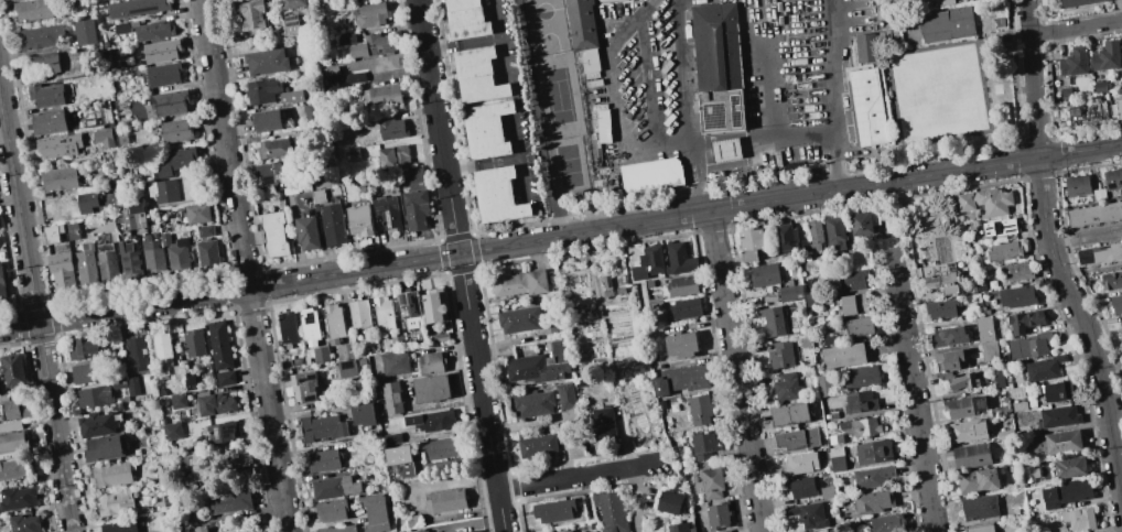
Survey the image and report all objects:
building: (347, 0)
building: (942, 1)
building: (1076, 2)
building: (290, 3)
building: (133, 8)
building: (32, 9)
rooftop solar panel: (148, 9)
building: (369, 14)
building: (250, 17)
building: (465, 19)
rooftop solar panel: (292, 20)
building: (291, 24)
rooftop solar panel: (293, 24)
building: (947, 24)
park: (548, 25)
road: (1076, 28)
building: (145, 30)
building: (84, 32)
building: (582, 32)
road: (1003, 34)
building: (39, 36)
building: (345, 39)
road: (501, 39)
road: (977, 40)
road: (463, 43)
building: (373, 45)
building: (865, 47)
building: (161, 51)
building: (1105, 56)
building: (1072, 62)
building: (267, 63)
building: (39, 64)
building: (718, 67)
building: (163, 74)
building: (477, 75)
building: (353, 76)
building: (330, 77)
road: (650, 77)
building: (594, 83)
building: (1099, 87)
building: (262, 90)
building: (1065, 93)
building: (384, 94)
park: (939, 94)
building: (45, 95)
road: (835, 95)
building: (290, 96)
road: (615, 101)
building: (169, 102)
park: (554, 106)
road: (686, 107)
building: (867, 107)
building: (1115, 108)
rooftop solar panel: (735, 113)
building: (1081, 113)
rooftop solar panel: (714, 117)
road: (541, 118)
building: (268, 121)
building: (48, 122)
building: (602, 122)
park: (565, 123)
building: (391, 128)
building: (175, 130)
building: (486, 130)
road: (764, 137)
building: (103, 138)
building: (57, 144)
building: (276, 149)
building: (725, 150)
building: (352, 155)
building: (393, 156)
road: (519, 156)
building: (176, 160)
road: (483, 164)
building: (268, 173)
building: (414, 174)
building: (650, 174)
building: (328, 175)
building: (58, 178)
rooftop solar panel: (268, 178)
building: (1113, 181)
rooftop solar panel: (270, 182)
building: (115, 183)
rooftop solar panel: (1110, 183)
building: (1076, 185)
building: (191, 186)
building: (164, 191)
building: (1098, 194)
building: (497, 195)
building: (317, 196)
building: (96, 200)
building: (992, 200)
building: (964, 202)
building: (136, 205)
road: (18, 209)
rooftop solar panel: (396, 209)
building: (416, 209)
rooftop solar panel: (382, 210)
building: (387, 211)
building: (196, 213)
building: (1094, 214)
building: (139, 220)
building: (358, 220)
building: (128, 221)
rooftop solar panel: (388, 222)
building: (863, 222)
building: (332, 224)
building: (101, 225)
building: (999, 227)
building: (205, 230)
building: (72, 231)
building: (833, 232)
building: (53, 234)
building: (306, 234)
road: (579, 234)
building: (276, 235)
building: (814, 235)
building: (785, 237)
building: (751, 243)
building: (803, 243)
building: (175, 251)
building: (206, 251)
building: (1003, 251)
road: (1051, 251)
building: (1099, 253)
building: (152, 254)
building: (652, 259)
building: (678, 259)
building: (128, 260)
building: (106, 262)
building: (86, 265)
road: (242, 265)
road: (460, 265)
building: (61, 269)
building: (1016, 271)
building: (638, 272)
building: (764, 274)
building: (938, 276)
building: (844, 280)
building: (1111, 280)
building: (606, 281)
building: (519, 283)
building: (980, 284)
building: (1, 285)
building: (681, 285)
building: (789, 291)
building: (1016, 296)
building: (812, 298)
building: (850, 304)
building: (1115, 304)
building: (434, 305)
building: (654, 305)
building: (408, 307)
building: (684, 308)
building: (941, 308)
building: (382, 312)
building: (359, 313)
building: (519, 319)
building: (333, 321)
building: (772, 321)
building: (1024, 321)
road: (18, 325)
building: (309, 326)
building: (857, 326)
building: (1120, 326)
building: (287, 328)
building: (983, 328)
building: (948, 336)
building: (438, 337)
building: (829, 340)
building: (193, 341)
building: (396, 343)
building: (680, 344)
building: (219, 346)
building: (1027, 346)
building: (84, 349)
building: (988, 349)
building: (344, 351)
building: (136, 352)
building: (320, 354)
building: (163, 355)
building: (779, 355)
building: (842, 355)
building: (949, 360)
building: (430, 362)
building: (393, 363)
building: (539, 365)
building: (346, 368)
building: (1043, 368)
building: (12, 369)
road: (735, 371)
building: (83, 374)
building: (861, 376)
building: (996, 376)
building: (225, 377)
building: (680, 379)
building: (958, 380)
building: (188, 381)
building: (581, 381)
building: (823, 383)
building: (303, 386)
building: (786, 386)
building: (132, 387)
building: (430, 388)
road: (911, 391)
building: (1058, 391)
building: (95, 397)
building: (390, 398)
building: (176, 401)
building: (859, 401)
building: (214, 403)
building: (532, 403)
building: (565, 403)
building: (963, 405)
building: (1018, 405)
building: (12, 408)
building: (699, 410)
building: (363, 414)
building: (788, 414)
building: (1057, 416)
building: (430, 420)
building: (603, 423)
building: (10, 425)
building: (96, 425)
road: (54, 426)
building: (859, 426)
building: (322, 428)
building: (967, 430)
building: (172, 431)
building: (220, 432)
rooftop solar panel: (217, 434)
rooftop solar panel: (230, 434)
building: (1004, 434)
building: (391, 438)
building: (797, 438)
building: (834, 438)
building: (11, 441)
building: (1056, 442)
building: (537, 445)
building: (702, 445)
building: (442, 447)
building: (106, 450)
building: (872, 452)
building: (222, 456)
building: (971, 456)
building: (835, 457)
building: (399, 459)
building: (324, 460)
building: (799, 463)
building: (1069, 466)
building: (12, 469)
building: (1029, 473)
building: (111, 475)
road: (575, 476)
building: (870, 476)
building: (979, 479)
building: (711, 482)
building: (334, 487)
building: (799, 487)
building: (826, 491)
building: (1066, 492)
building: (19, 497)
building: (445, 500)
building: (229, 501)
building: (872, 501)
building: (669, 502)
building: (116, 503)
building: (159, 506)
building: (979, 507)
building: (330, 510)
building: (553, 510)
building: (609, 511)
building: (375, 512)
building: (807, 514)
building: (716, 515)
building: (1078, 519)
building: (412, 520)
building: (23, 523)
building: (887, 523)
building: (119, 526)
building: (679, 528)
building: (197, 529)
building: (339, 529)
building: (981, 529)
building: (819, 530)
building: (423, 531)
building: (468, 531)
building: (565, 531)
building: (592, 531)
building: (724, 531)

